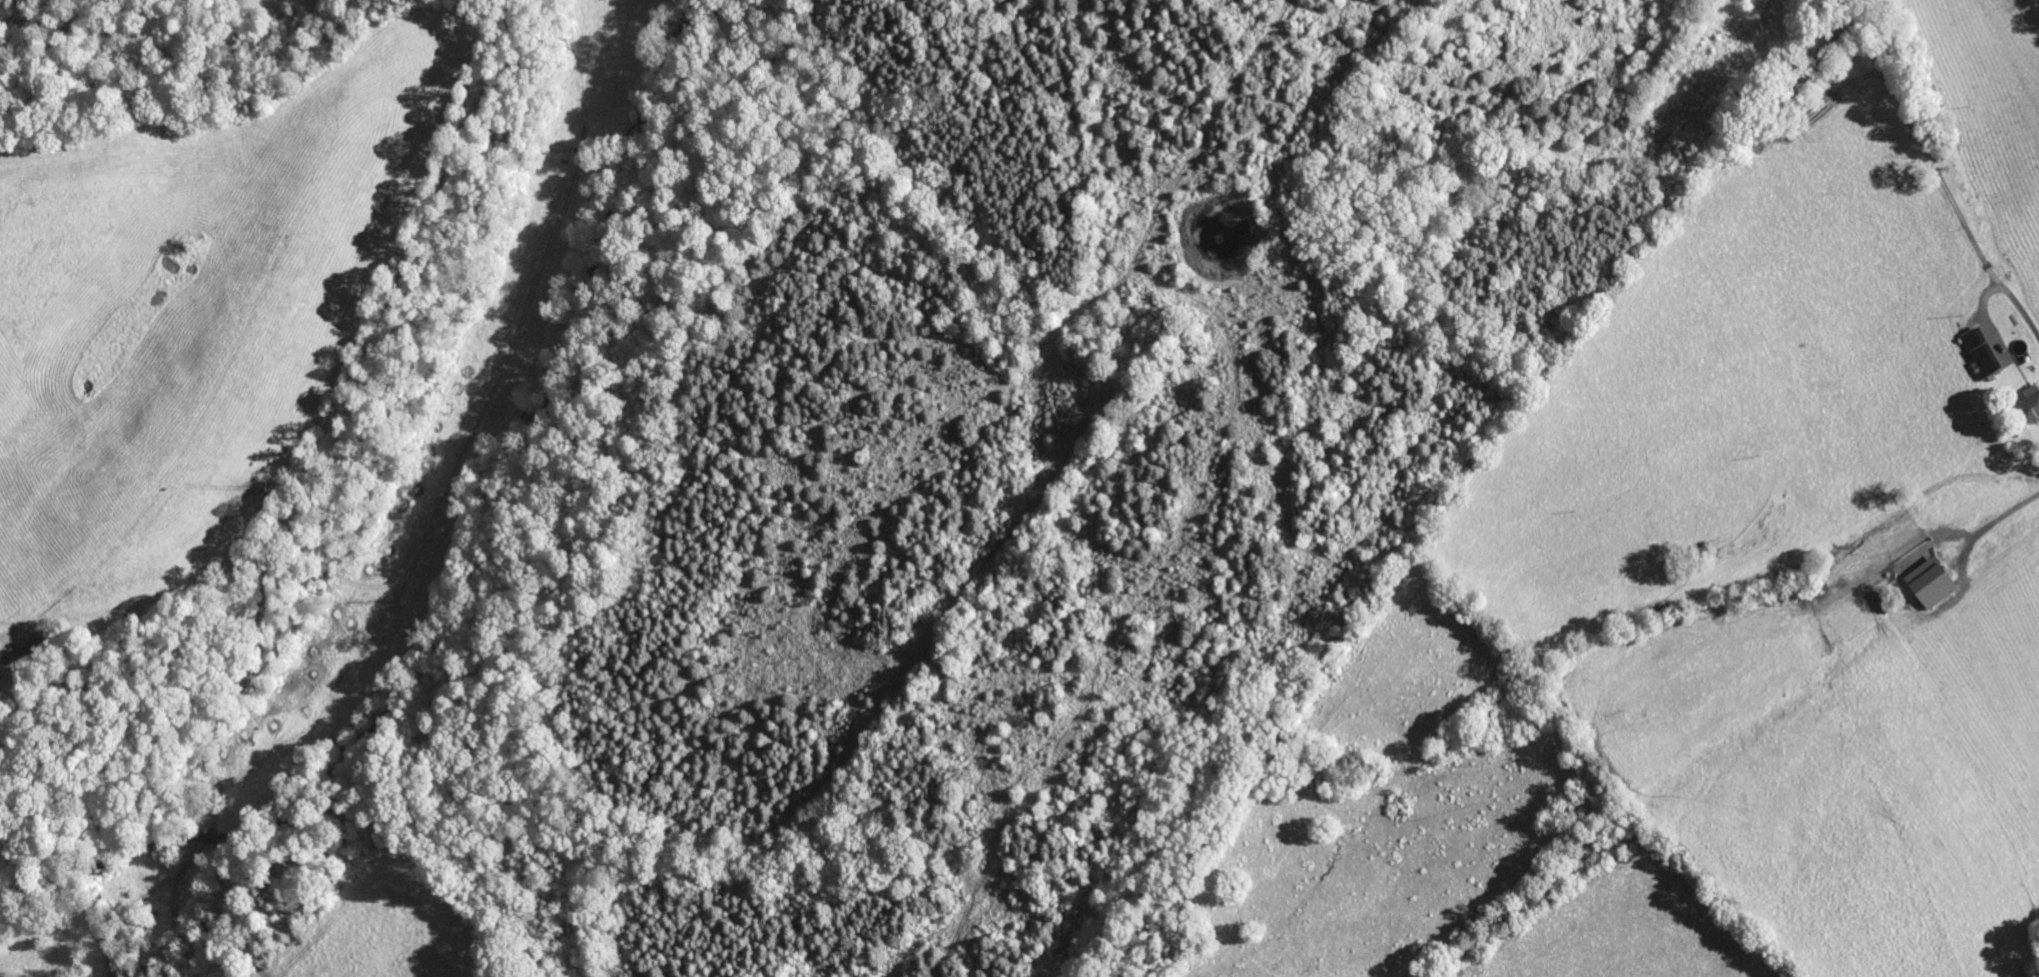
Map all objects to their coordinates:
road: (1937, 177)
building: (1983, 352)
building: (2032, 403)
road: (2009, 491)
building: (1934, 582)

